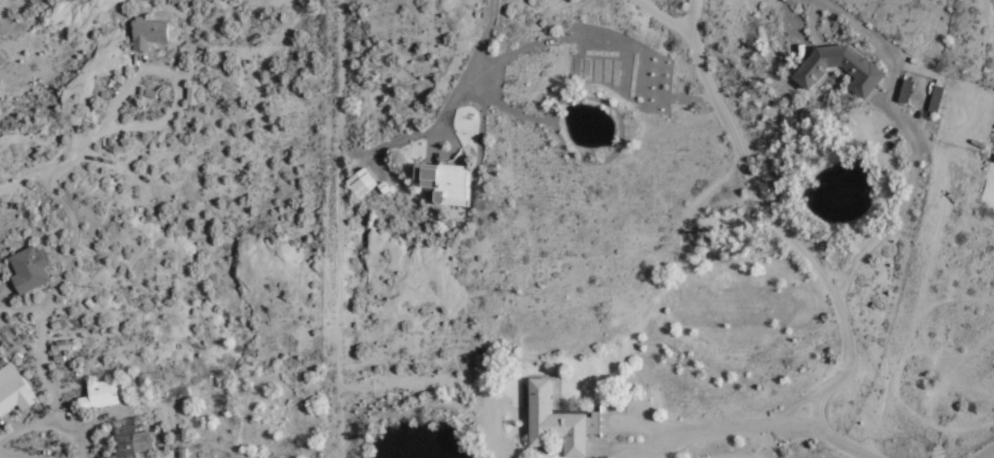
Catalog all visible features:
road: (664, 19)
building: (149, 33)
road: (575, 36)
building: (866, 72)
building: (907, 91)
building: (937, 100)
road: (883, 102)
road: (451, 103)
road: (916, 142)
road: (433, 147)
road: (454, 150)
road: (376, 163)
road: (584, 164)
road: (64, 167)
road: (27, 179)
building: (361, 184)
building: (448, 185)
building: (383, 188)
road: (339, 229)
road: (792, 242)
building: (30, 271)
road: (837, 275)
road: (3, 295)
road: (23, 310)
road: (16, 341)
building: (59, 359)
building: (143, 382)
road: (64, 386)
building: (14, 391)
building: (100, 397)
road: (802, 404)
road: (146, 407)
building: (560, 422)
road: (50, 424)
road: (777, 426)
road: (806, 428)
road: (689, 433)
building: (131, 441)
road: (647, 449)
road: (987, 453)
road: (4, 456)

